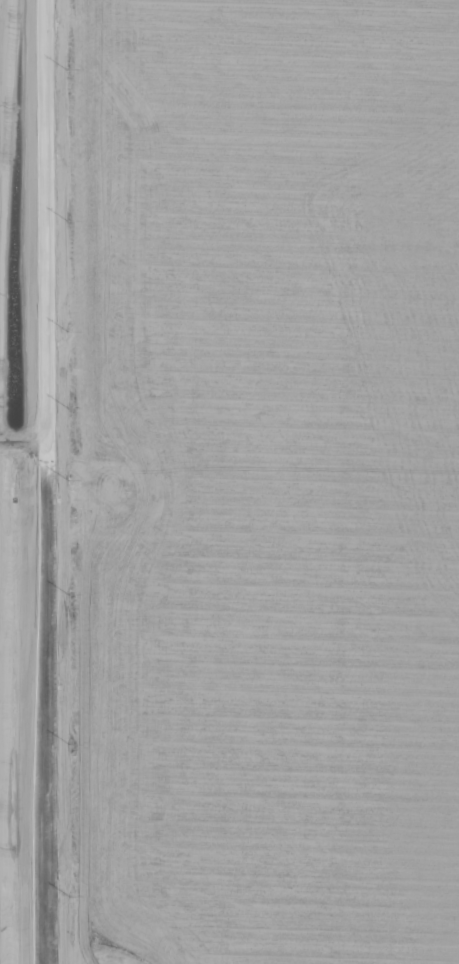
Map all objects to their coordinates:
road: (50, 482)

